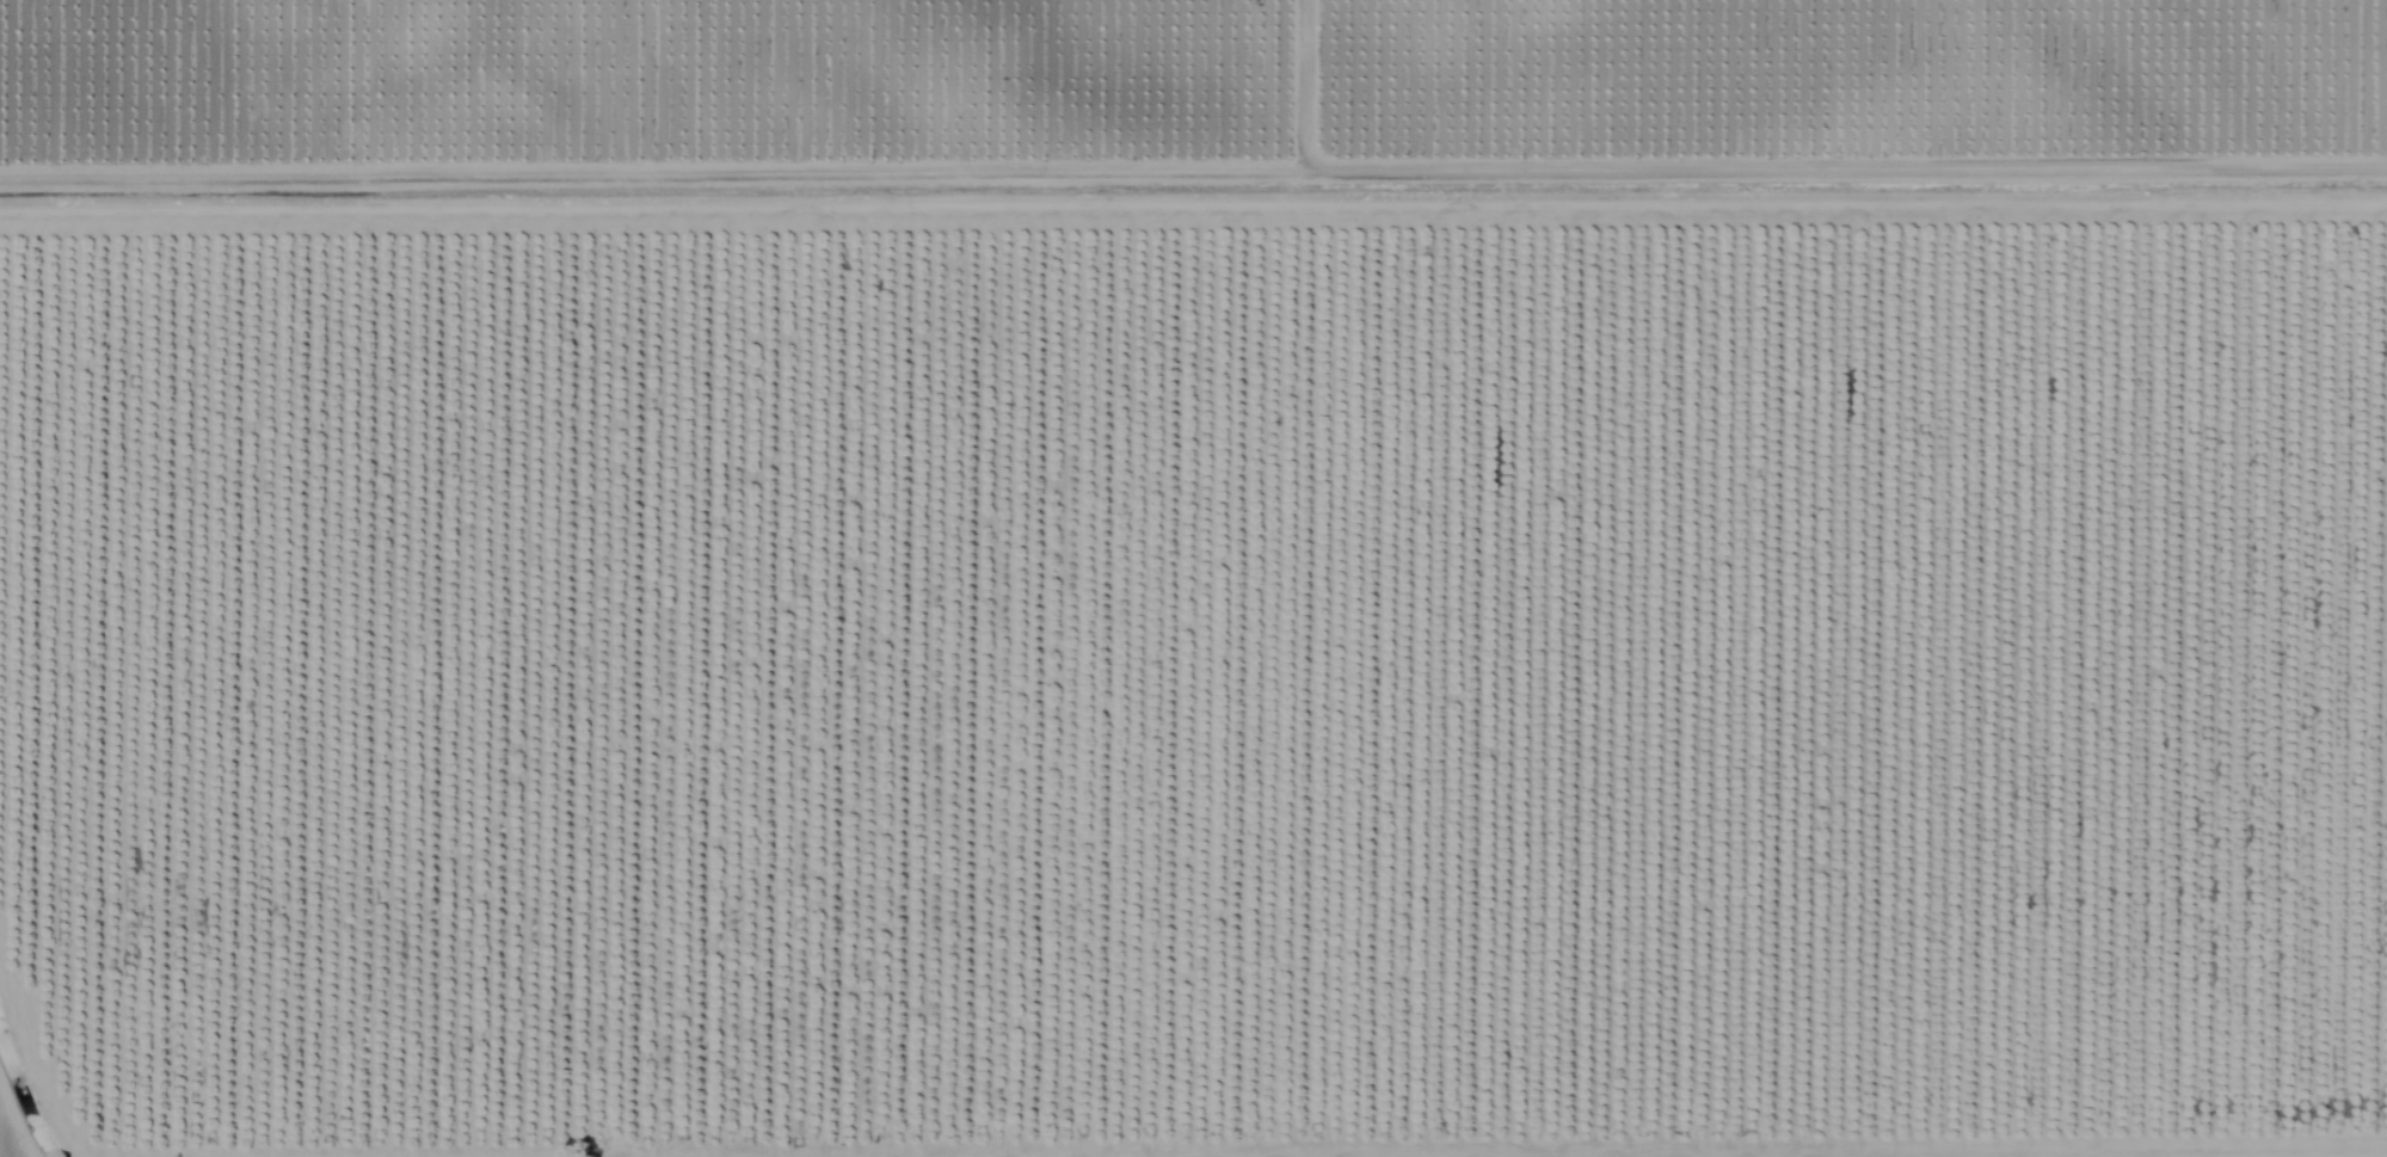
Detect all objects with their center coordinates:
road: (239, 118)
road: (1273, 121)
road: (2257, 122)
road: (1193, 240)
crop: (1193, 578)
road: (74, 1002)

